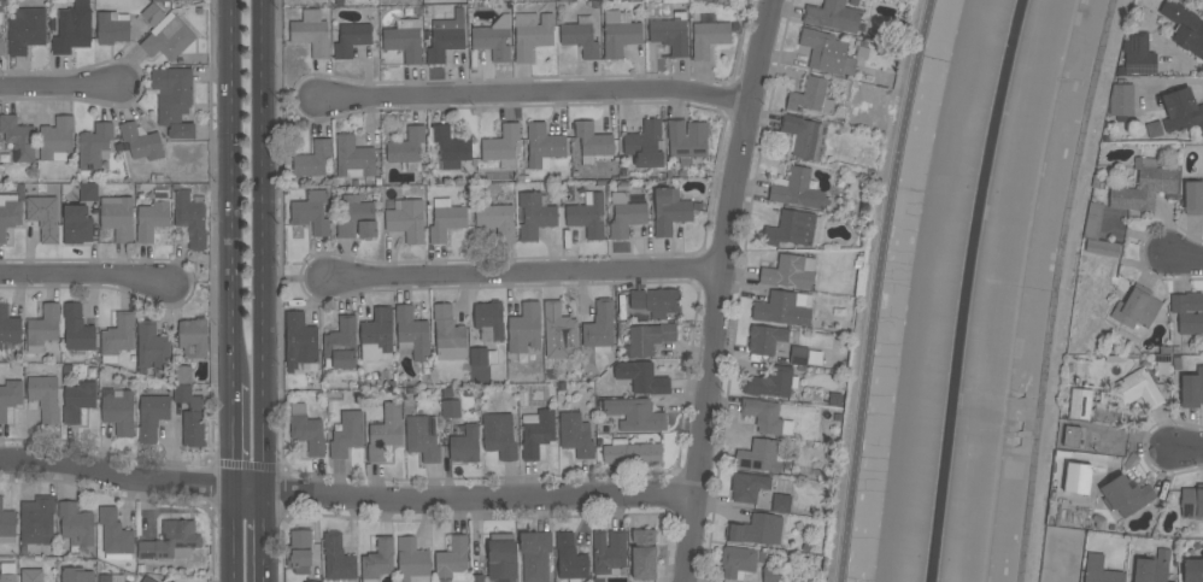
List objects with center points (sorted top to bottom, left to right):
building: (708, 0)
building: (717, 0)
building: (162, 1)
building: (152, 14)
building: (834, 16)
building: (72, 28)
building: (112, 28)
building: (27, 31)
building: (1189, 31)
building: (311, 33)
building: (620, 33)
building: (532, 34)
building: (671, 34)
building: (168, 37)
building: (446, 37)
building: (581, 37)
building: (352, 39)
building: (494, 39)
building: (709, 39)
building: (405, 40)
building: (1, 47)
building: (826, 52)
building: (1138, 57)
road: (59, 88)
road: (532, 90)
building: (811, 96)
building: (174, 100)
building: (1121, 101)
building: (1181, 111)
building: (803, 136)
building: (18, 139)
building: (57, 139)
building: (687, 140)
building: (141, 142)
building: (592, 142)
building: (645, 145)
building: (95, 146)
building: (501, 146)
building: (544, 146)
building: (407, 148)
building: (450, 148)
building: (353, 158)
building: (313, 161)
building: (1144, 187)
building: (798, 190)
building: (88, 192)
road: (233, 192)
building: (1193, 196)
building: (670, 211)
building: (311, 212)
building: (8, 214)
building: (535, 214)
building: (588, 214)
building: (626, 216)
building: (43, 217)
building: (118, 217)
building: (190, 218)
building: (151, 219)
building: (357, 219)
building: (406, 219)
building: (446, 221)
building: (497, 221)
building: (1092, 221)
building: (77, 225)
building: (794, 229)
road: (264, 245)
building: (1102, 248)
road: (1185, 259)
building: (790, 272)
road: (522, 275)
road: (82, 276)
building: (1120, 280)
road: (716, 288)
road: (876, 289)
road: (1055, 289)
building: (656, 301)
building: (785, 308)
building: (1138, 308)
building: (1189, 312)
building: (489, 321)
building: (558, 325)
building: (8, 327)
building: (600, 327)
building: (43, 328)
building: (524, 329)
building: (77, 330)
building: (412, 334)
building: (448, 334)
building: (118, 335)
building: (377, 336)
building: (193, 337)
building: (649, 337)
building: (767, 340)
building: (300, 341)
building: (340, 345)
building: (152, 347)
building: (799, 355)
building: (482, 357)
building: (182, 375)
building: (642, 377)
building: (769, 382)
building: (1192, 388)
building: (1139, 389)
building: (10, 398)
building: (45, 398)
building: (78, 401)
building: (1080, 404)
building: (451, 408)
building: (119, 411)
building: (153, 412)
building: (635, 415)
building: (763, 415)
building: (190, 416)
building: (307, 430)
building: (385, 431)
building: (536, 433)
building: (346, 434)
building: (500, 435)
building: (575, 435)
road: (234, 436)
building: (1072, 436)
building: (423, 437)
building: (465, 445)
road: (1189, 451)
building: (632, 453)
building: (761, 455)
building: (1102, 462)
building: (1076, 478)
building: (749, 487)
building: (1126, 495)
road: (347, 496)
building: (1192, 502)
building: (781, 504)
building: (1068, 507)
building: (37, 522)
building: (7, 524)
building: (76, 524)
building: (756, 530)
road: (234, 535)
building: (115, 536)
road: (265, 536)
building: (172, 541)
building: (608, 551)
building: (299, 552)
building: (535, 554)
building: (644, 554)
building: (1060, 554)
building: (338, 558)
building: (501, 558)
building: (570, 558)
building: (411, 559)
building: (453, 559)
building: (378, 560)
building: (740, 562)
building: (1151, 566)
building: (1099, 570)
building: (1192, 570)
building: (8, 571)
building: (31, 575)
building: (76, 575)
building: (771, 575)
building: (111, 578)
building: (476, 578)
building: (147, 580)
building: (171, 581)
building: (309, 581)

